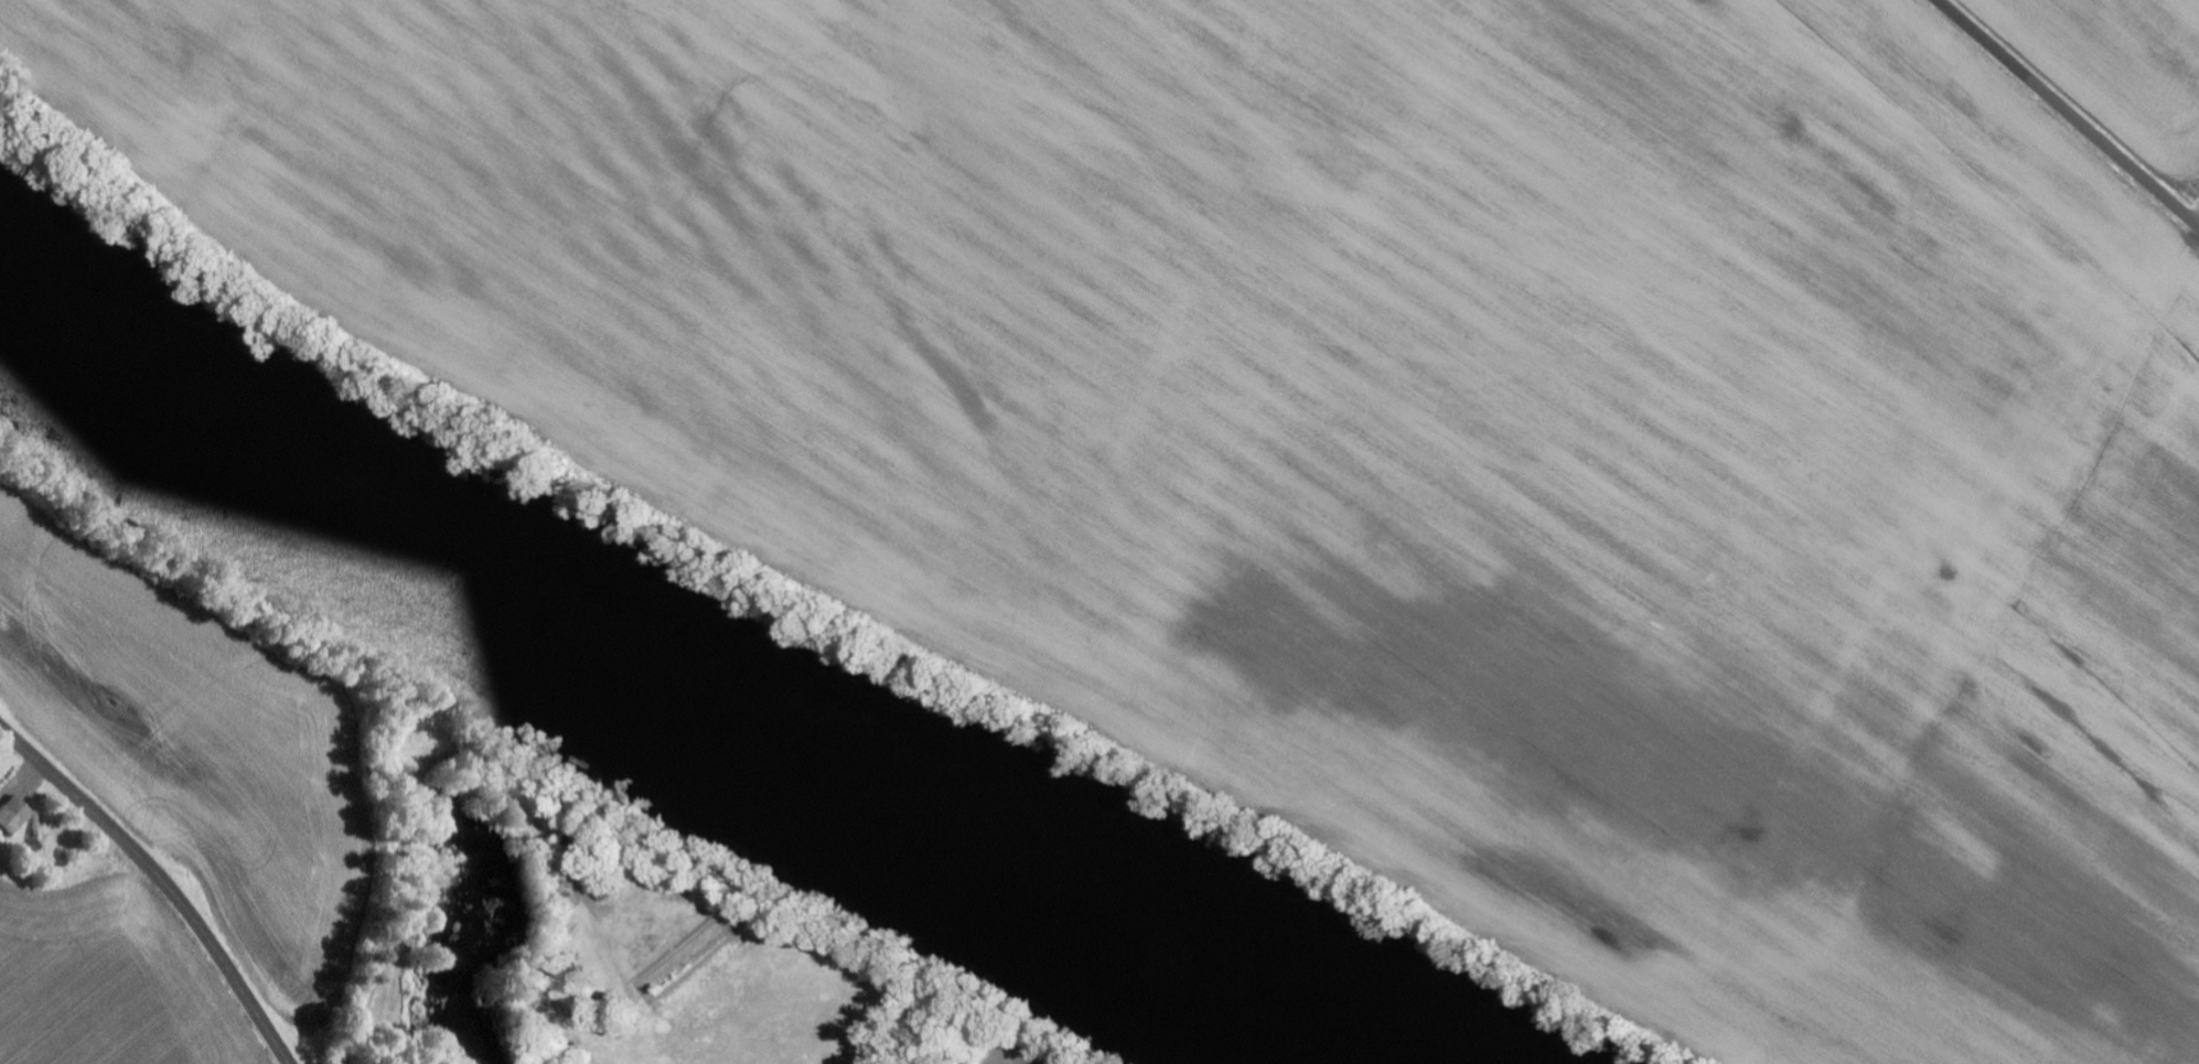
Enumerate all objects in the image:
road: (2068, 114)
river: (694, 690)
building: (15, 816)
road: (161, 880)

